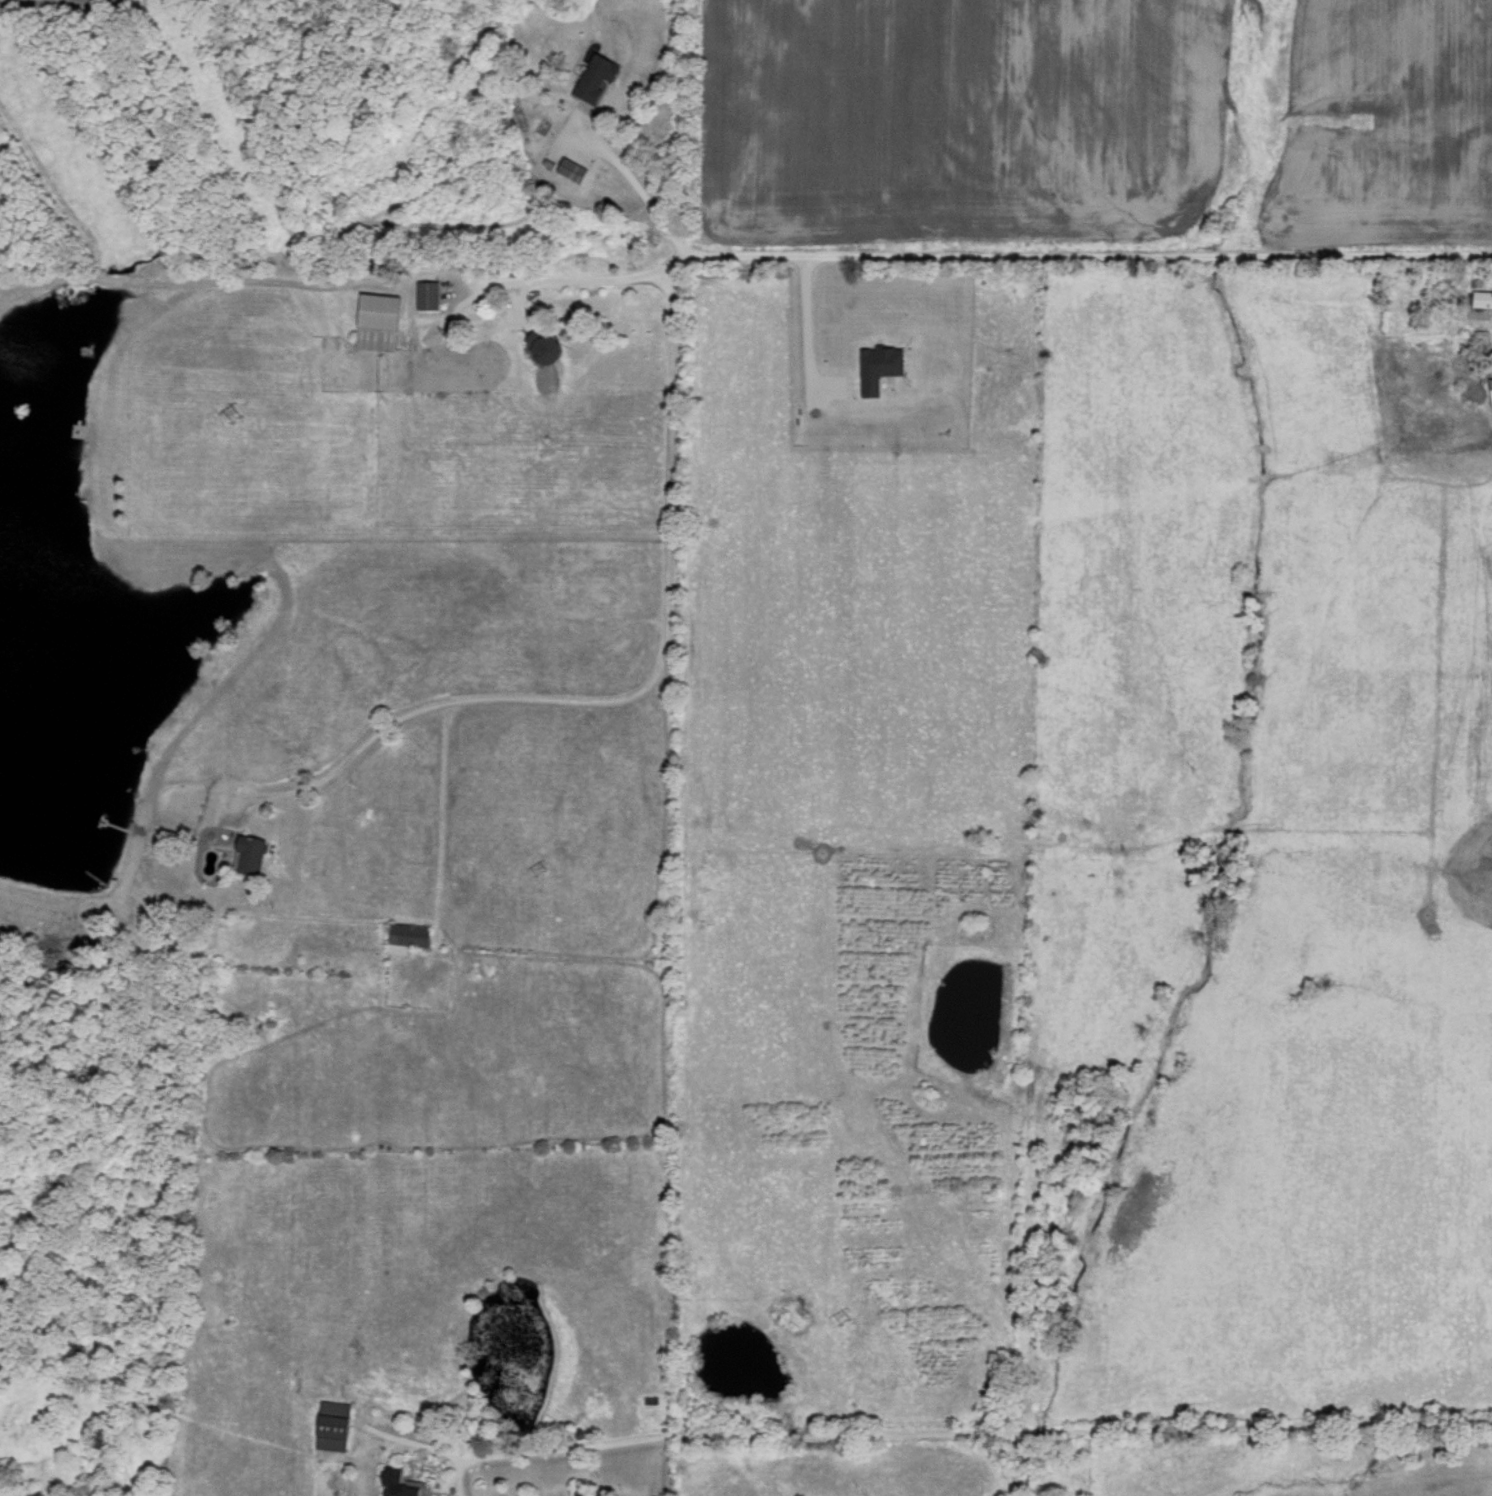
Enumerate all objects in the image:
building: (596, 75)
building: (571, 168)
road: (634, 183)
road: (1076, 256)
road: (369, 282)
building: (428, 293)
building: (1482, 297)
building: (378, 319)
road: (806, 329)
building: (547, 346)
building: (1490, 388)
road: (665, 581)
road: (339, 765)
road: (439, 810)
building: (250, 853)
building: (408, 935)
building: (334, 1424)
road: (953, 1434)
building: (399, 1482)
building: (580, 1488)

